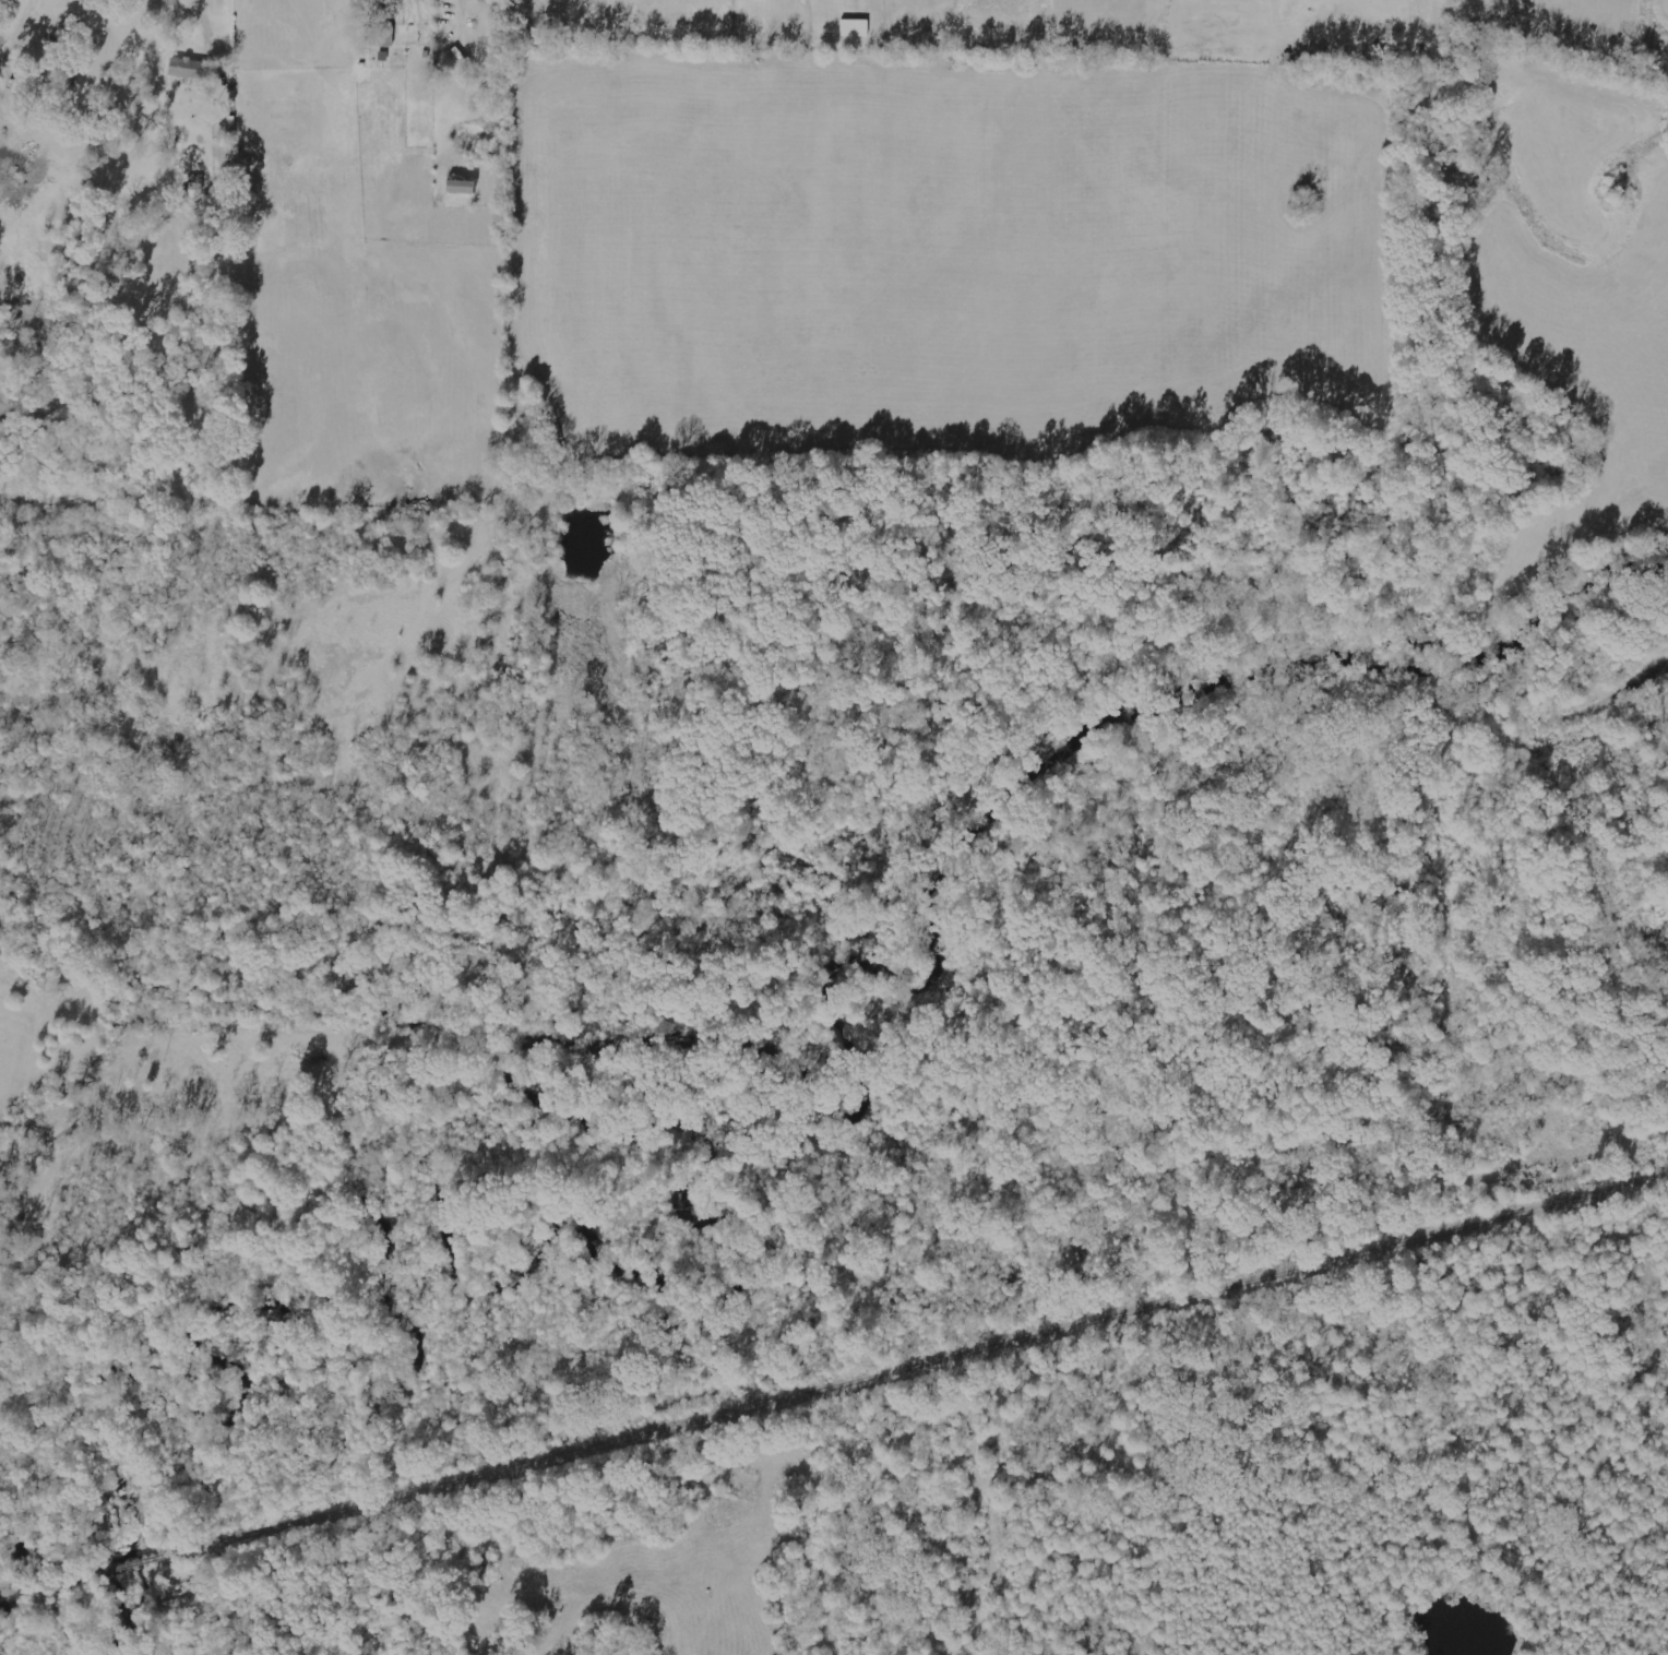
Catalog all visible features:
building: (188, 67)
building: (462, 186)
railway: (834, 1389)

